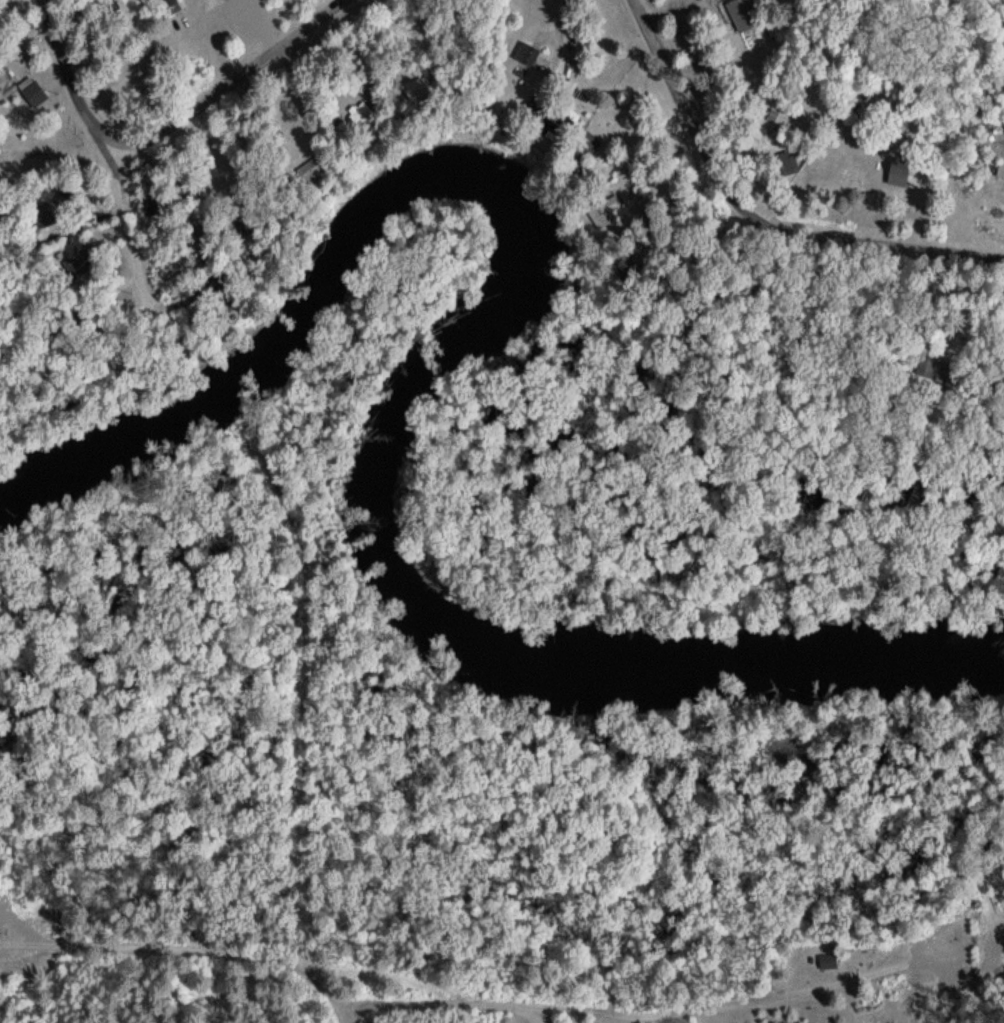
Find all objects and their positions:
building: (133, 9)
building: (743, 13)
building: (524, 52)
building: (417, 86)
building: (30, 89)
road: (227, 89)
building: (774, 117)
road: (90, 135)
building: (786, 160)
building: (1001, 167)
building: (308, 169)
building: (896, 169)
building: (157, 203)
road: (755, 218)
river: (415, 389)
building: (826, 960)
road: (179, 964)
road: (674, 1013)

